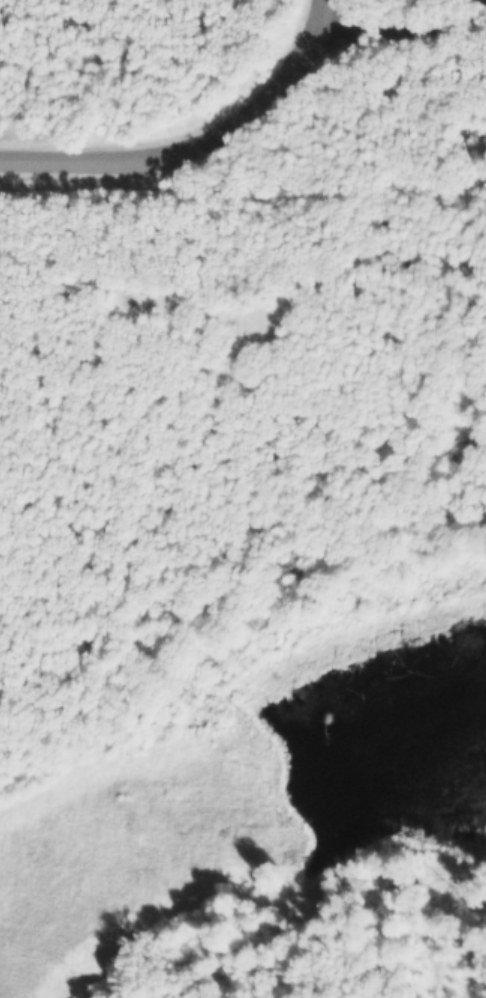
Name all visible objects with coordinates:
road: (396, 23)
road: (201, 147)

